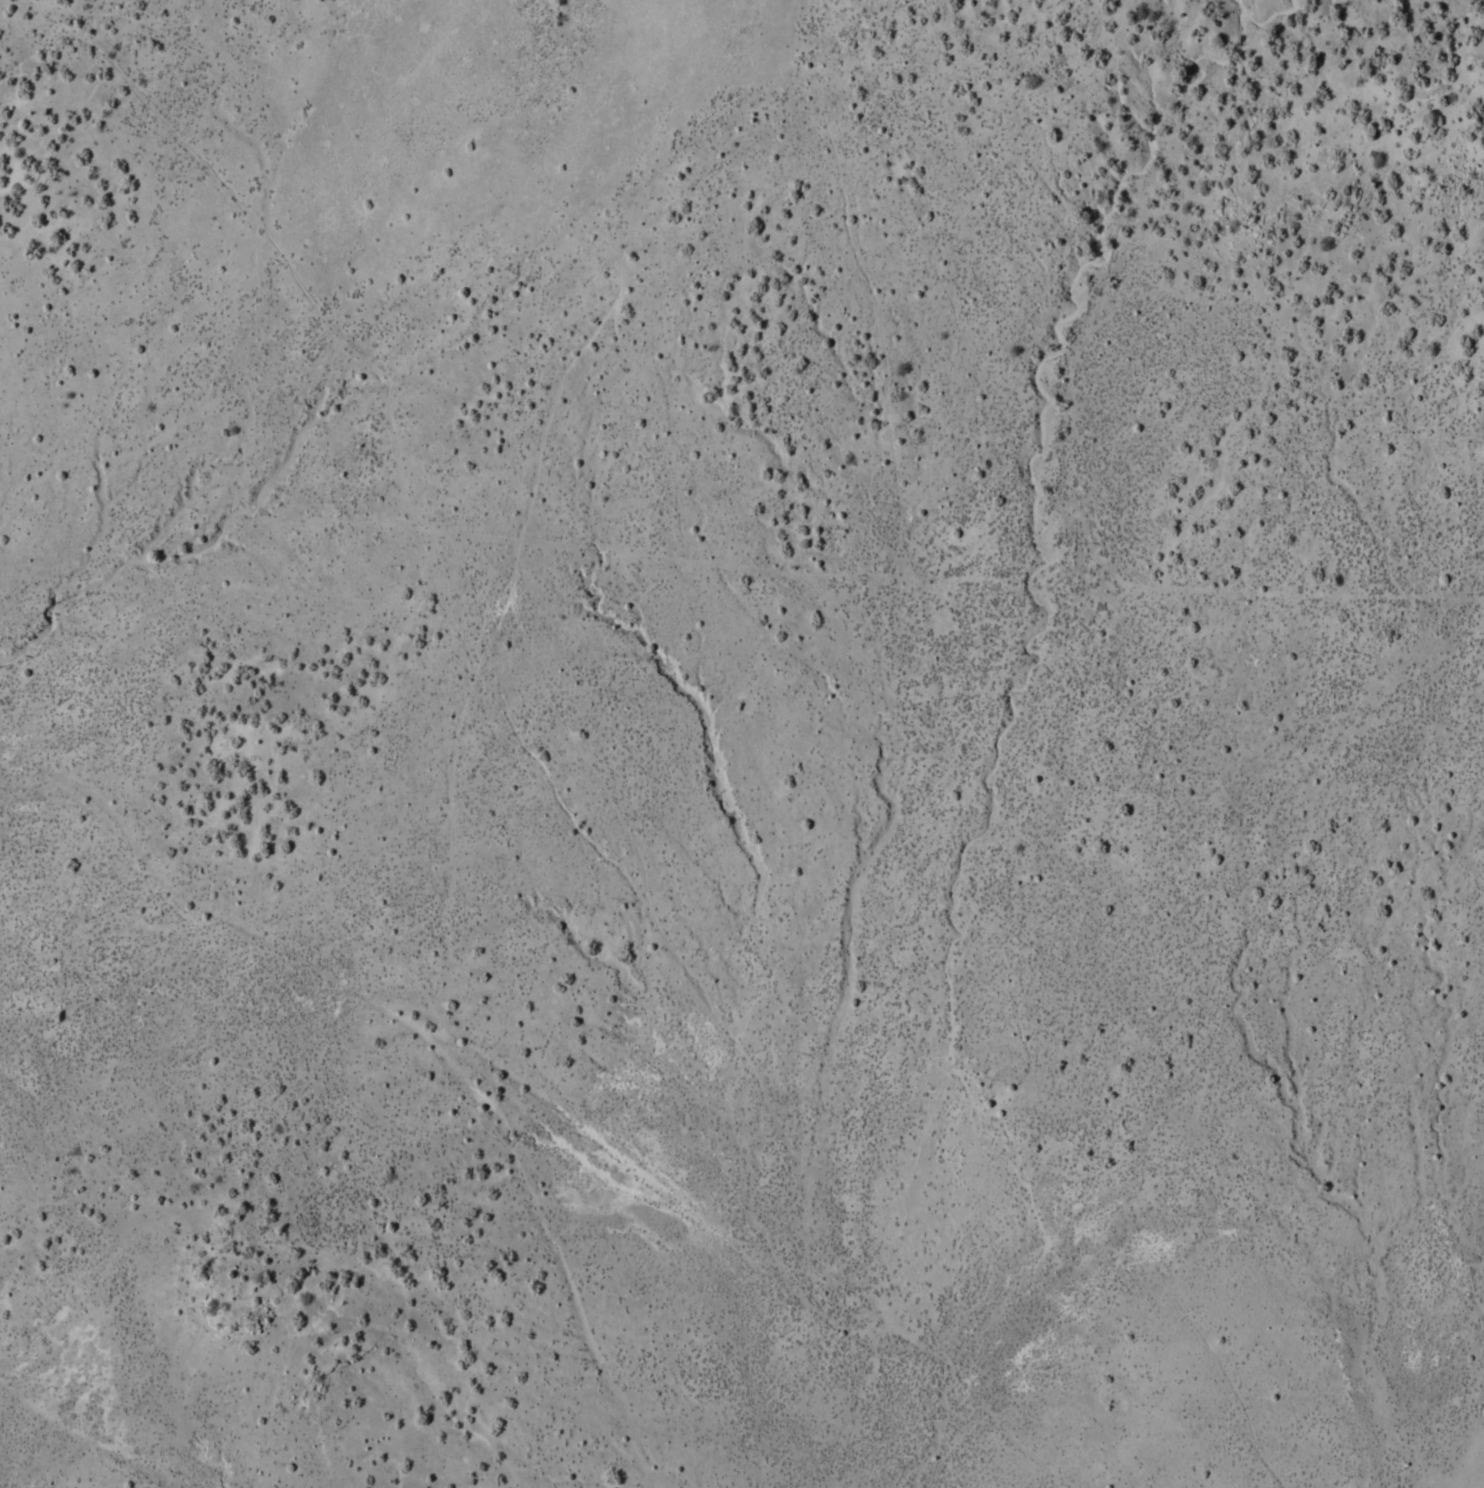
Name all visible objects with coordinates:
road: (690, 497)

